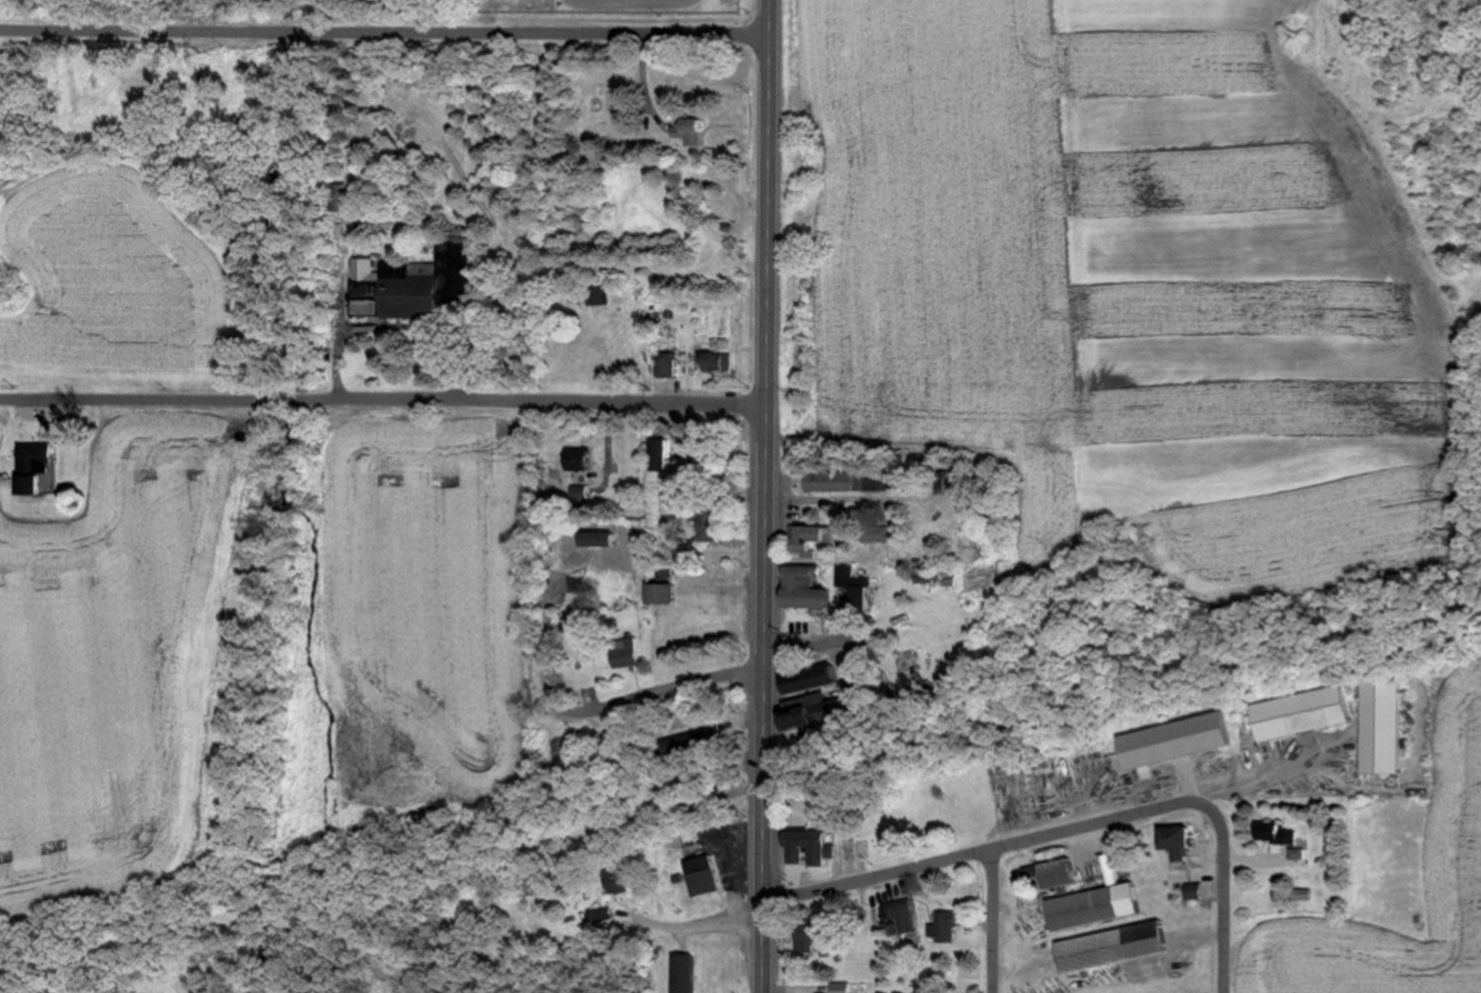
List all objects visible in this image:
road: (385, 34)
road: (646, 89)
building: (395, 289)
building: (601, 297)
building: (668, 366)
road: (384, 397)
building: (579, 460)
building: (30, 467)
road: (699, 472)
building: (953, 478)
building: (830, 482)
road: (766, 496)
building: (596, 540)
building: (810, 540)
building: (803, 589)
building: (858, 591)
building: (661, 594)
building: (627, 653)
building: (808, 680)
road: (600, 708)
building: (1302, 713)
building: (800, 719)
building: (1383, 727)
road: (740, 793)
building: (1271, 833)
building: (1176, 842)
road: (993, 849)
building: (1053, 874)
building: (703, 877)
building: (617, 882)
building: (1194, 892)
building: (1302, 895)
road: (1225, 900)
building: (1097, 902)
building: (602, 916)
building: (903, 920)
road: (994, 921)
road: (702, 927)
building: (951, 928)
building: (811, 939)
building: (1112, 948)
building: (685, 974)

